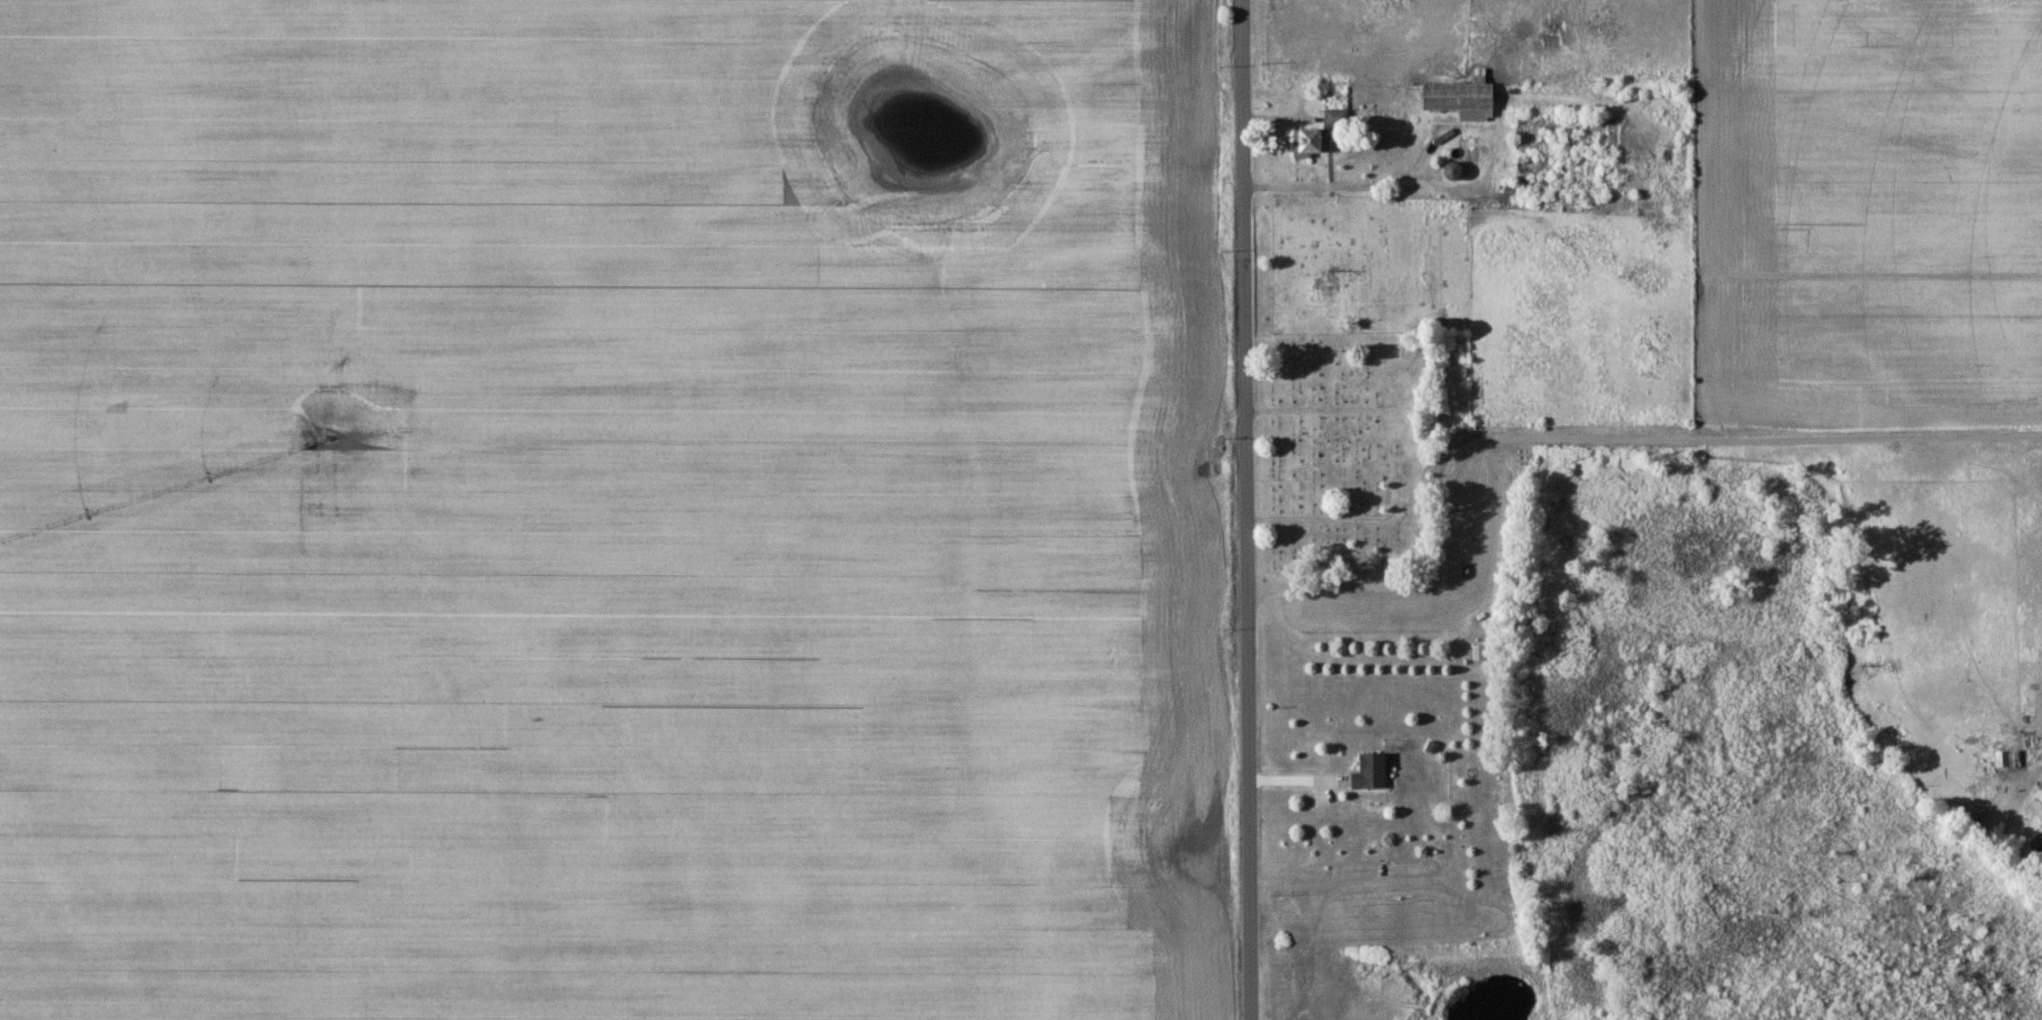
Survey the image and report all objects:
building: (1461, 100)
building: (1319, 136)
building: (1453, 172)
road: (1354, 182)
road: (1588, 438)
park: (1345, 453)
road: (1245, 510)
building: (1479, 654)
building: (1371, 772)

